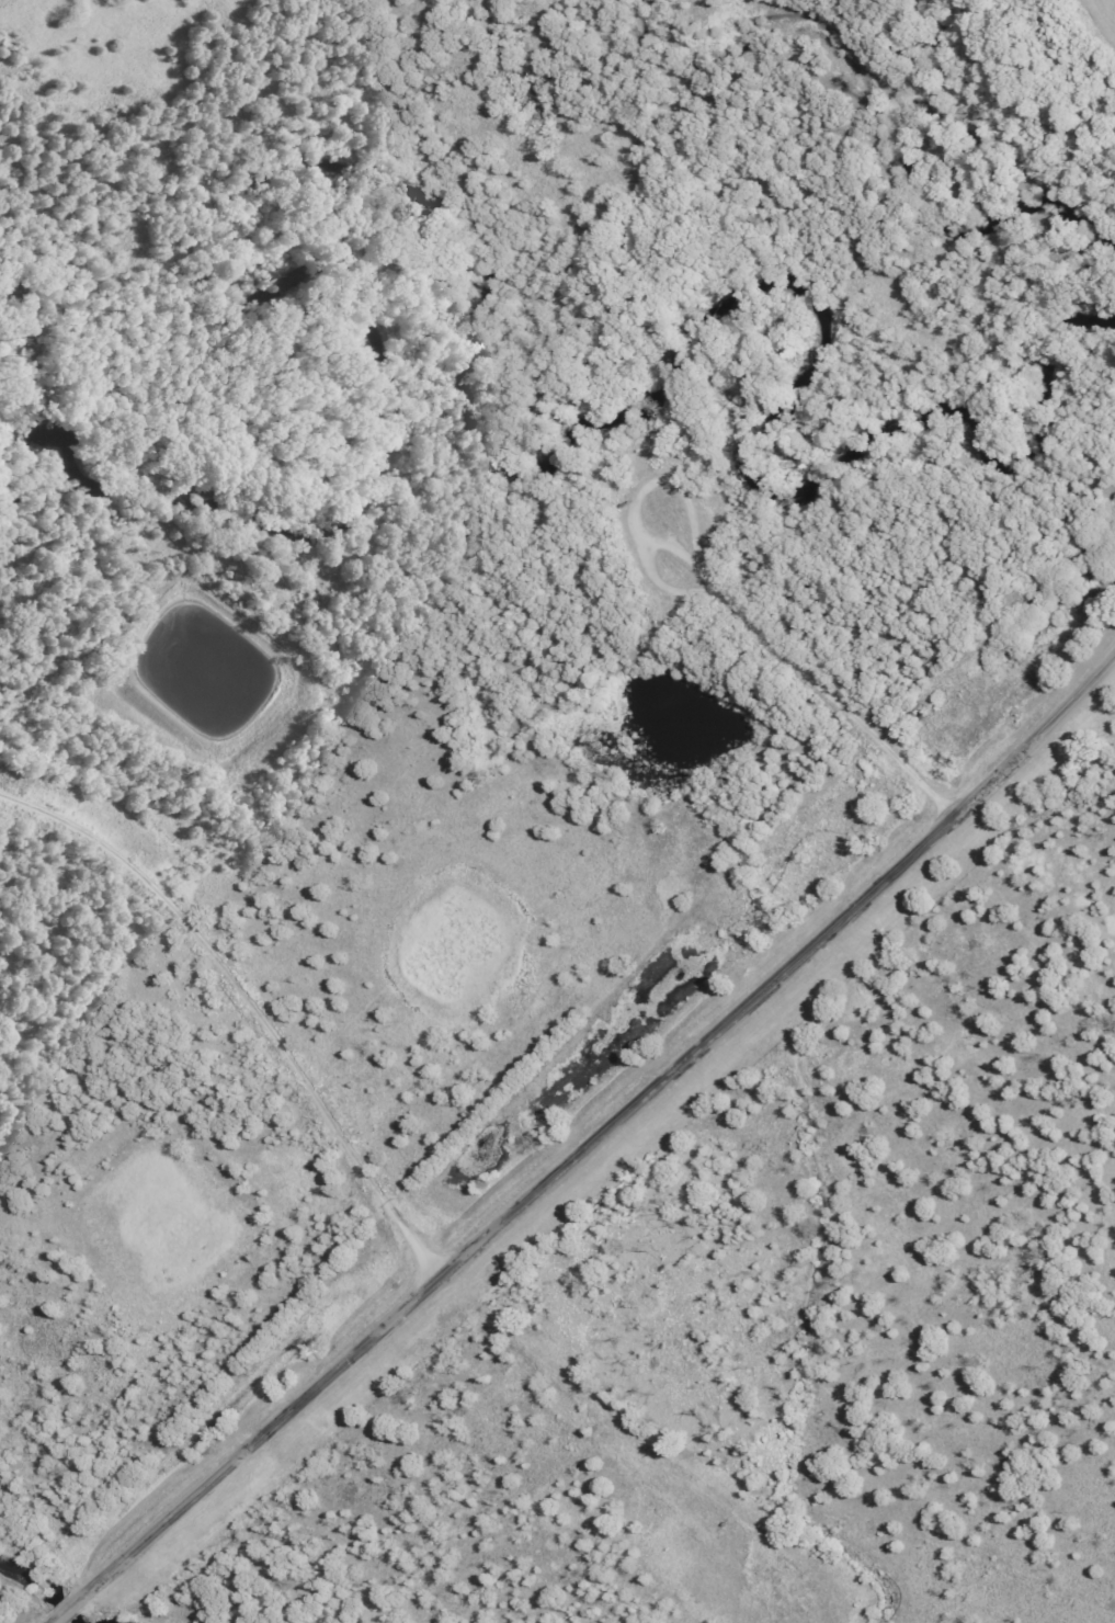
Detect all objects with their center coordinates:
road: (589, 1145)
petroleum well: (758, 1609)

